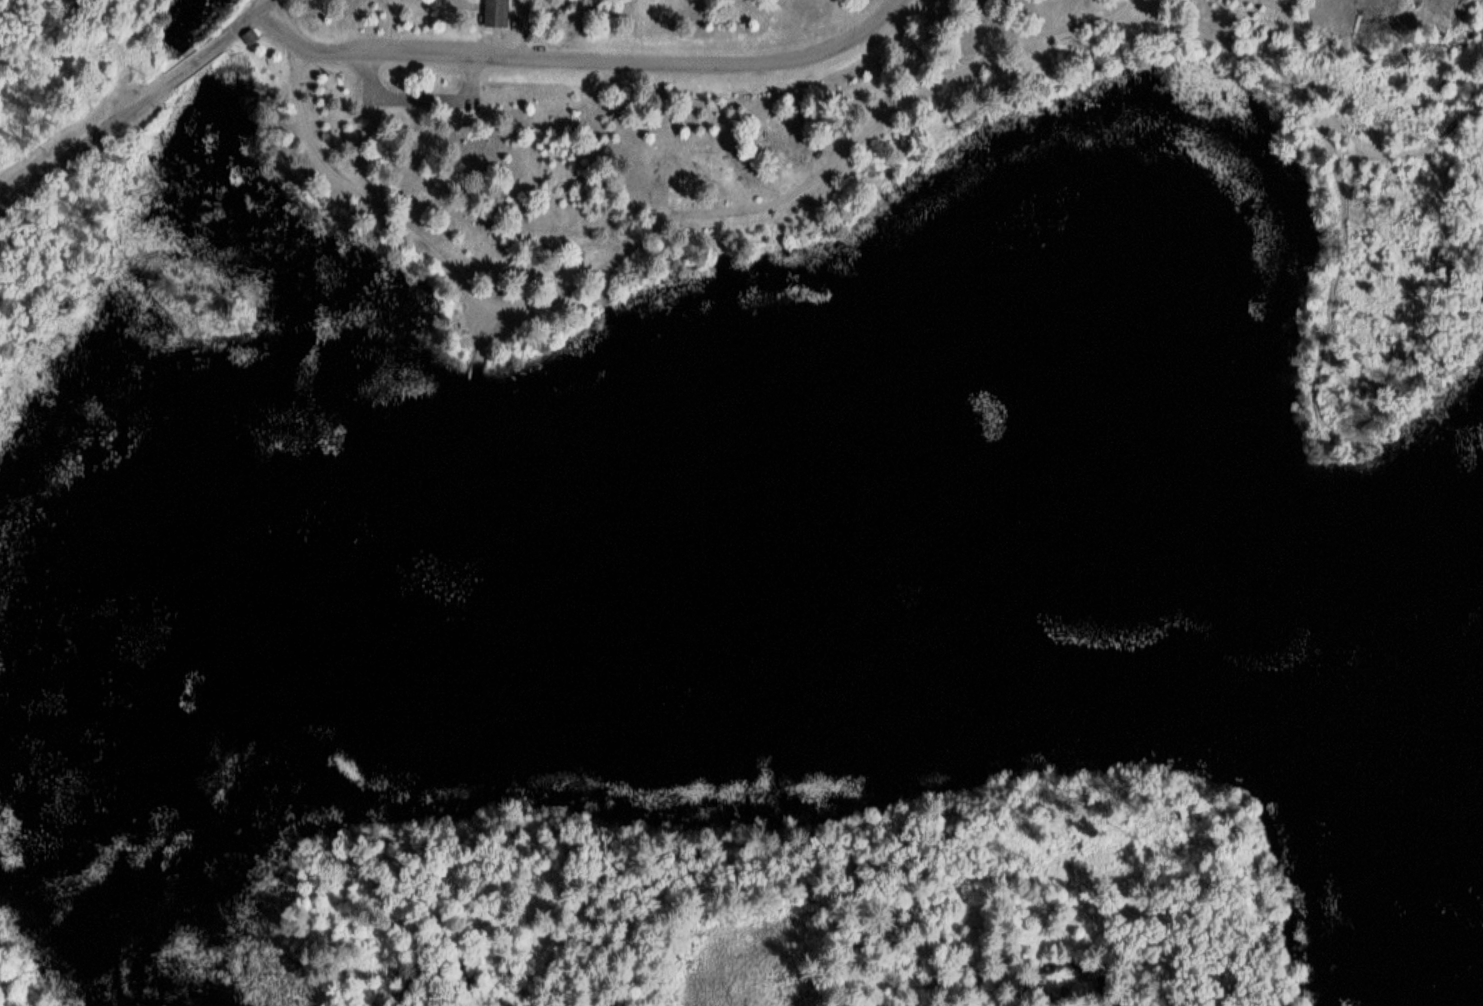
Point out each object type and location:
building: (498, 13)
road: (568, 57)
road: (126, 109)
park: (852, 142)

